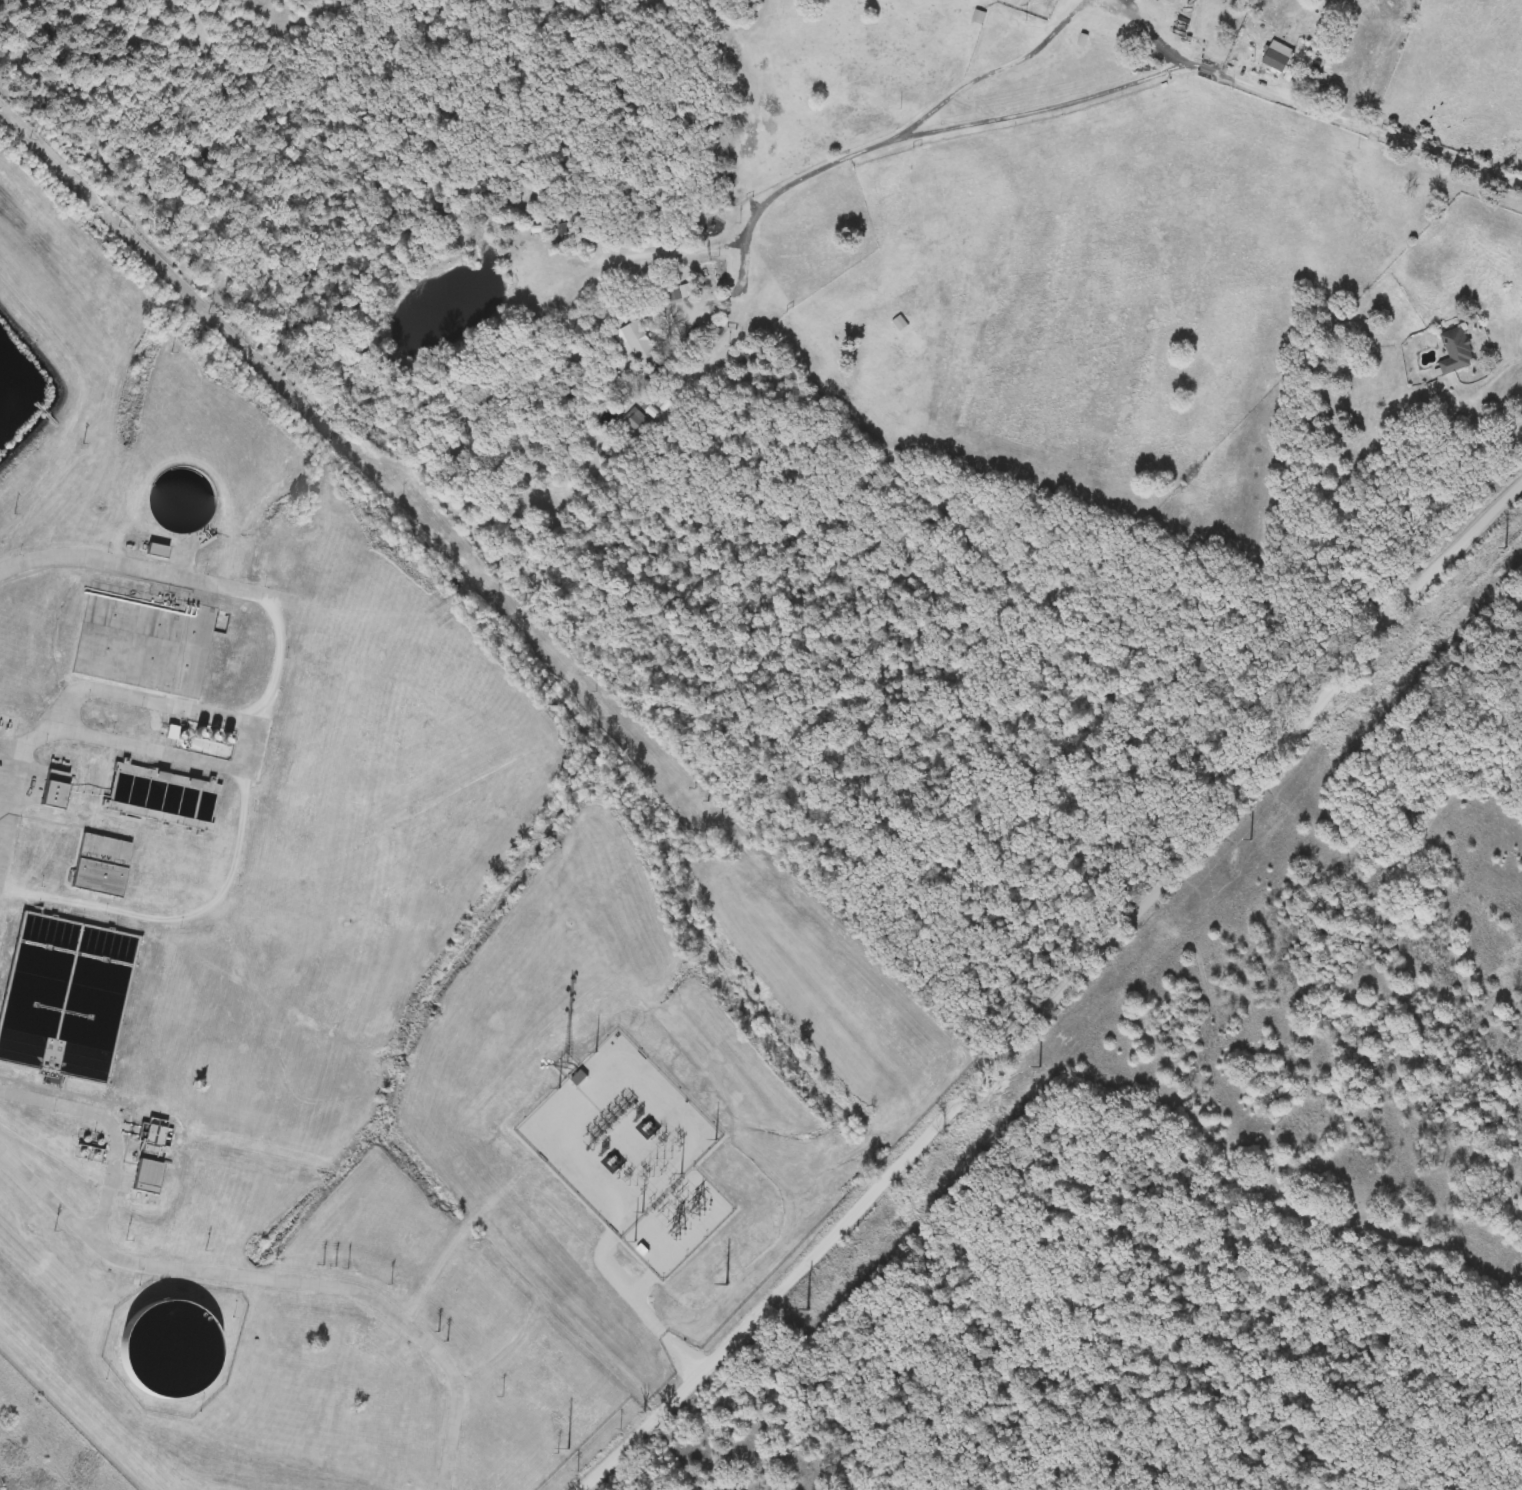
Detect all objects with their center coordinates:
road: (1050, 43)
building: (1278, 57)
road: (1056, 99)
road: (650, 253)
building: (900, 323)
building: (640, 344)
building: (1456, 352)
road: (1496, 375)
building: (634, 419)
building: (176, 505)
building: (156, 551)
road: (61, 556)
building: (51, 788)
building: (160, 797)
building: (100, 866)
road: (1069, 990)
building: (66, 998)
building: (578, 1078)
building: (152, 1136)
power substation: (631, 1151)
road: (279, 1279)
building: (165, 1350)

